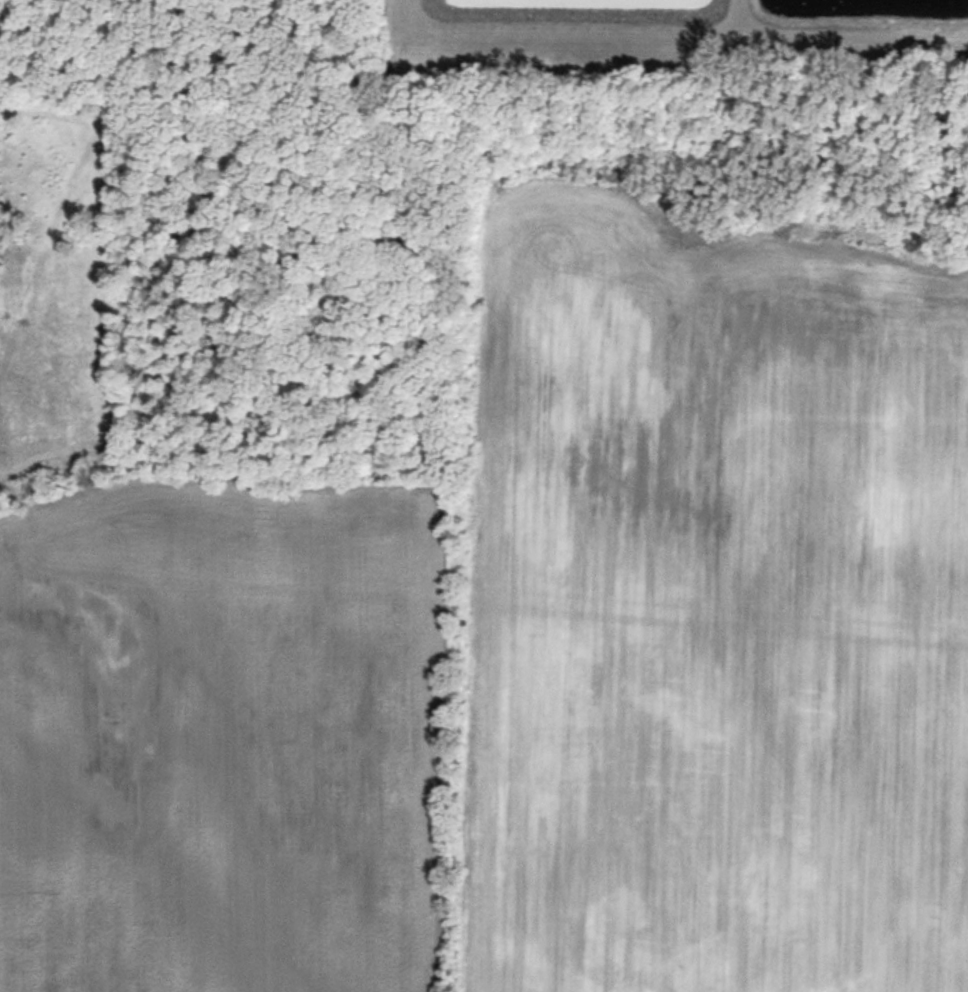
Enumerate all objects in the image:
crop: (531, 659)

